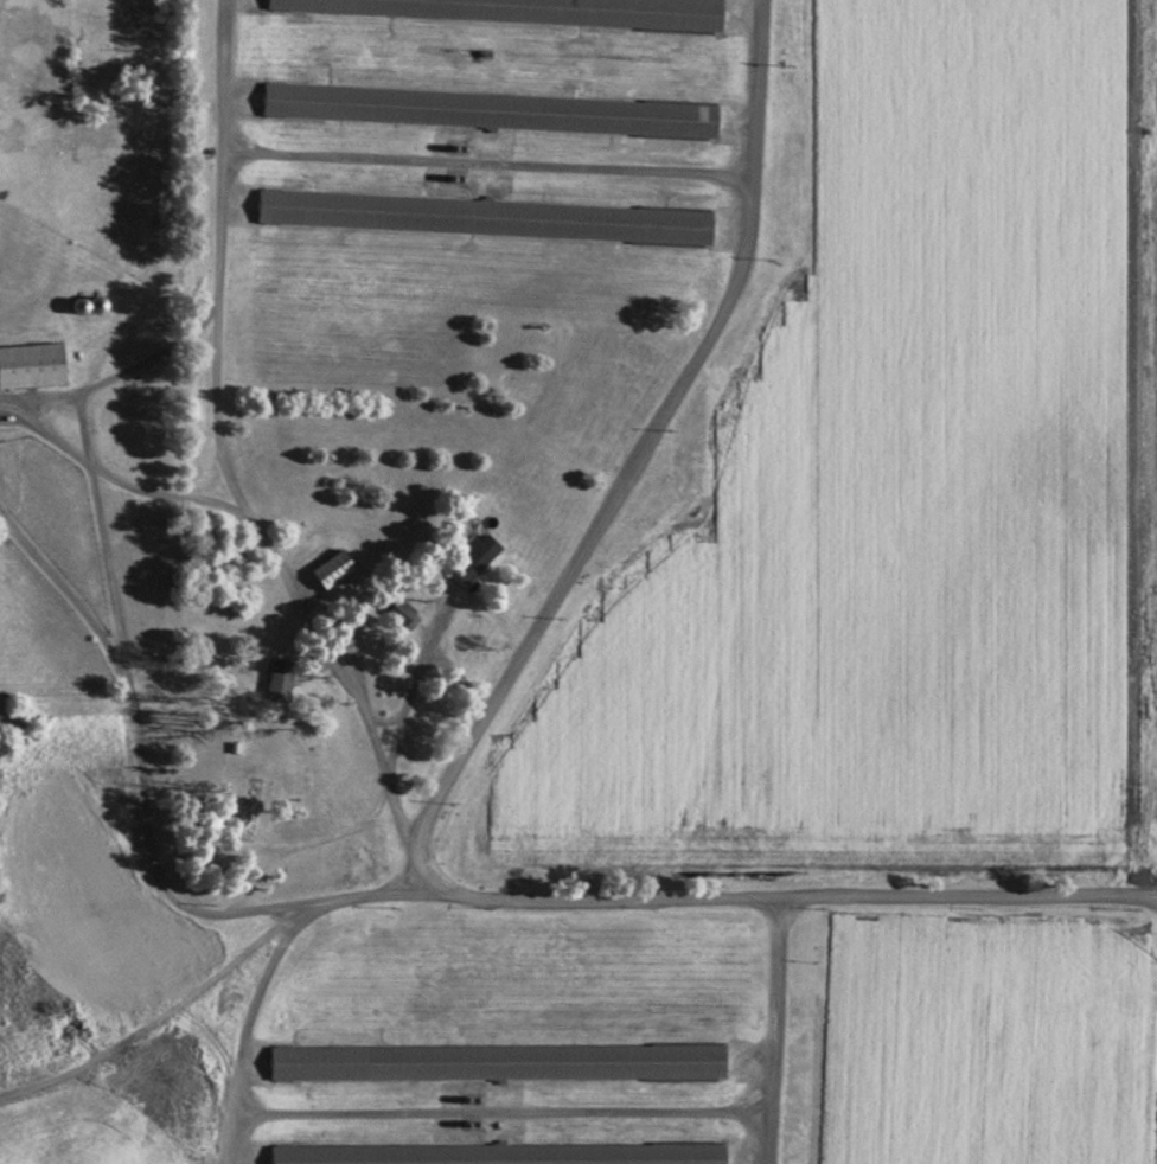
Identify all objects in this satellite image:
building: (531, 12)
building: (499, 111)
building: (488, 218)
building: (34, 366)
road: (82, 396)
building: (485, 552)
building: (337, 570)
road: (64, 589)
road: (317, 623)
building: (283, 680)
road: (130, 704)
road: (333, 836)
road: (737, 895)
road: (168, 1012)
building: (500, 1063)
building: (499, 1155)

